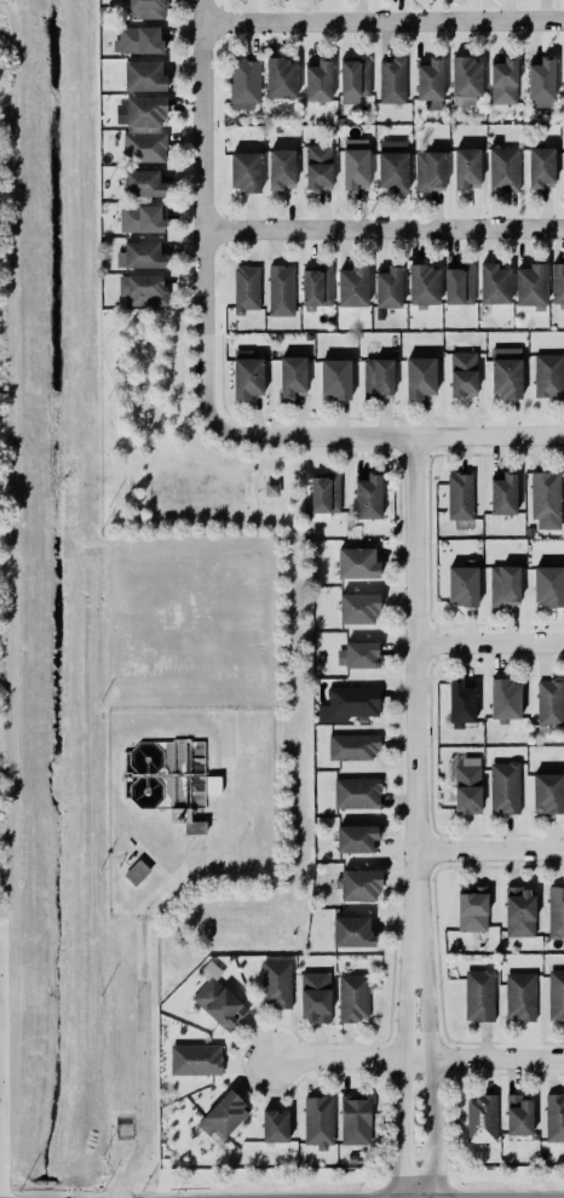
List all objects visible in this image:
building: (145, 8)
road: (384, 21)
building: (137, 39)
building: (143, 75)
building: (280, 78)
building: (563, 78)
building: (430, 79)
building: (317, 80)
building: (352, 80)
building: (391, 80)
building: (502, 80)
building: (465, 81)
building: (541, 82)
building: (243, 84)
building: (144, 110)
building: (143, 147)
building: (355, 162)
building: (392, 165)
building: (318, 166)
building: (280, 167)
building: (466, 167)
building: (540, 167)
building: (503, 168)
building: (563, 168)
building: (428, 170)
building: (243, 171)
building: (142, 182)
road: (205, 210)
building: (142, 218)
road: (384, 230)
building: (143, 254)
building: (457, 282)
building: (557, 282)
building: (422, 283)
building: (494, 283)
building: (352, 285)
building: (530, 285)
building: (316, 286)
building: (387, 287)
building: (246, 288)
building: (142, 290)
building: (281, 290)
road: (162, 321)
road: (189, 321)
road: (142, 325)
road: (114, 326)
road: (139, 328)
road: (144, 328)
road: (137, 333)
road: (146, 333)
road: (142, 338)
road: (100, 350)
road: (155, 351)
road: (184, 351)
road: (130, 352)
road: (107, 367)
building: (462, 372)
building: (506, 372)
road: (143, 373)
building: (247, 374)
building: (548, 374)
building: (290, 376)
building: (419, 376)
building: (376, 377)
road: (159, 378)
building: (334, 378)
road: (163, 382)
road: (128, 383)
road: (144, 391)
road: (144, 431)
road: (384, 435)
road: (202, 440)
park: (179, 443)
road: (122, 449)
road: (287, 454)
road: (259, 472)
park: (194, 488)
road: (259, 488)
building: (271, 488)
building: (324, 493)
building: (502, 493)
building: (460, 495)
building: (367, 497)
building: (545, 498)
road: (208, 525)
building: (357, 562)
building: (462, 581)
building: (503, 585)
building: (547, 585)
building: (357, 607)
road: (489, 646)
building: (361, 653)
road: (414, 692)
building: (505, 699)
building: (548, 701)
building: (349, 703)
road: (179, 739)
building: (352, 745)
road: (186, 753)
road: (126, 772)
road: (215, 773)
road: (122, 774)
road: (123, 774)
road: (159, 774)
road: (126, 776)
building: (212, 785)
building: (467, 785)
building: (503, 786)
road: (186, 789)
building: (356, 792)
building: (546, 792)
wastewater plant: (185, 803)
road: (180, 809)
road: (214, 809)
building: (194, 826)
road: (197, 833)
building: (355, 838)
street lamp: (184, 850)
road: (489, 853)
road: (155, 865)
building: (134, 871)
road: (148, 872)
building: (358, 884)
street lamp: (127, 892)
building: (472, 908)
building: (519, 911)
building: (556, 911)
building: (351, 930)
road: (142, 941)
building: (276, 984)
building: (479, 994)
building: (519, 994)
building: (556, 994)
street lamp: (132, 996)
building: (315, 996)
building: (353, 997)
building: (218, 1003)
building: (195, 1059)
road: (418, 1060)
road: (398, 1072)
road: (426, 1072)
street lamp: (132, 1106)
building: (225, 1113)
building: (518, 1114)
building: (554, 1117)
building: (355, 1118)
building: (480, 1118)
building: (318, 1120)
building: (274, 1125)

